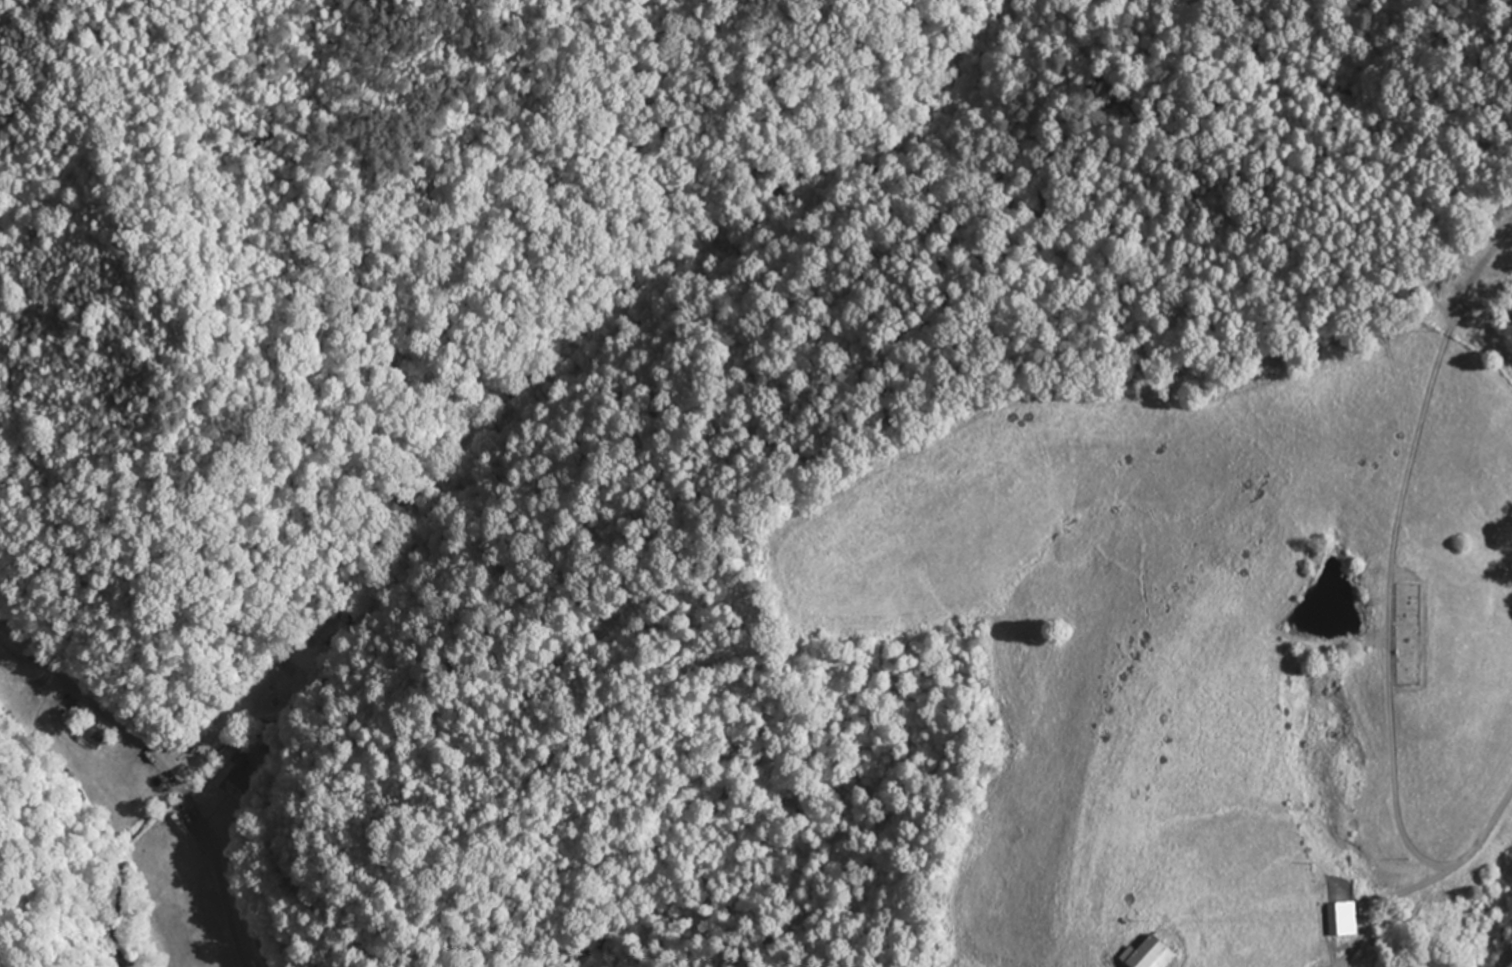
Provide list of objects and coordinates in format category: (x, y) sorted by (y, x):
road: (1427, 615)
building: (89, 735)
building: (225, 777)
road: (1434, 869)
building: (1341, 919)
building: (1148, 955)
road: (1509, 959)

